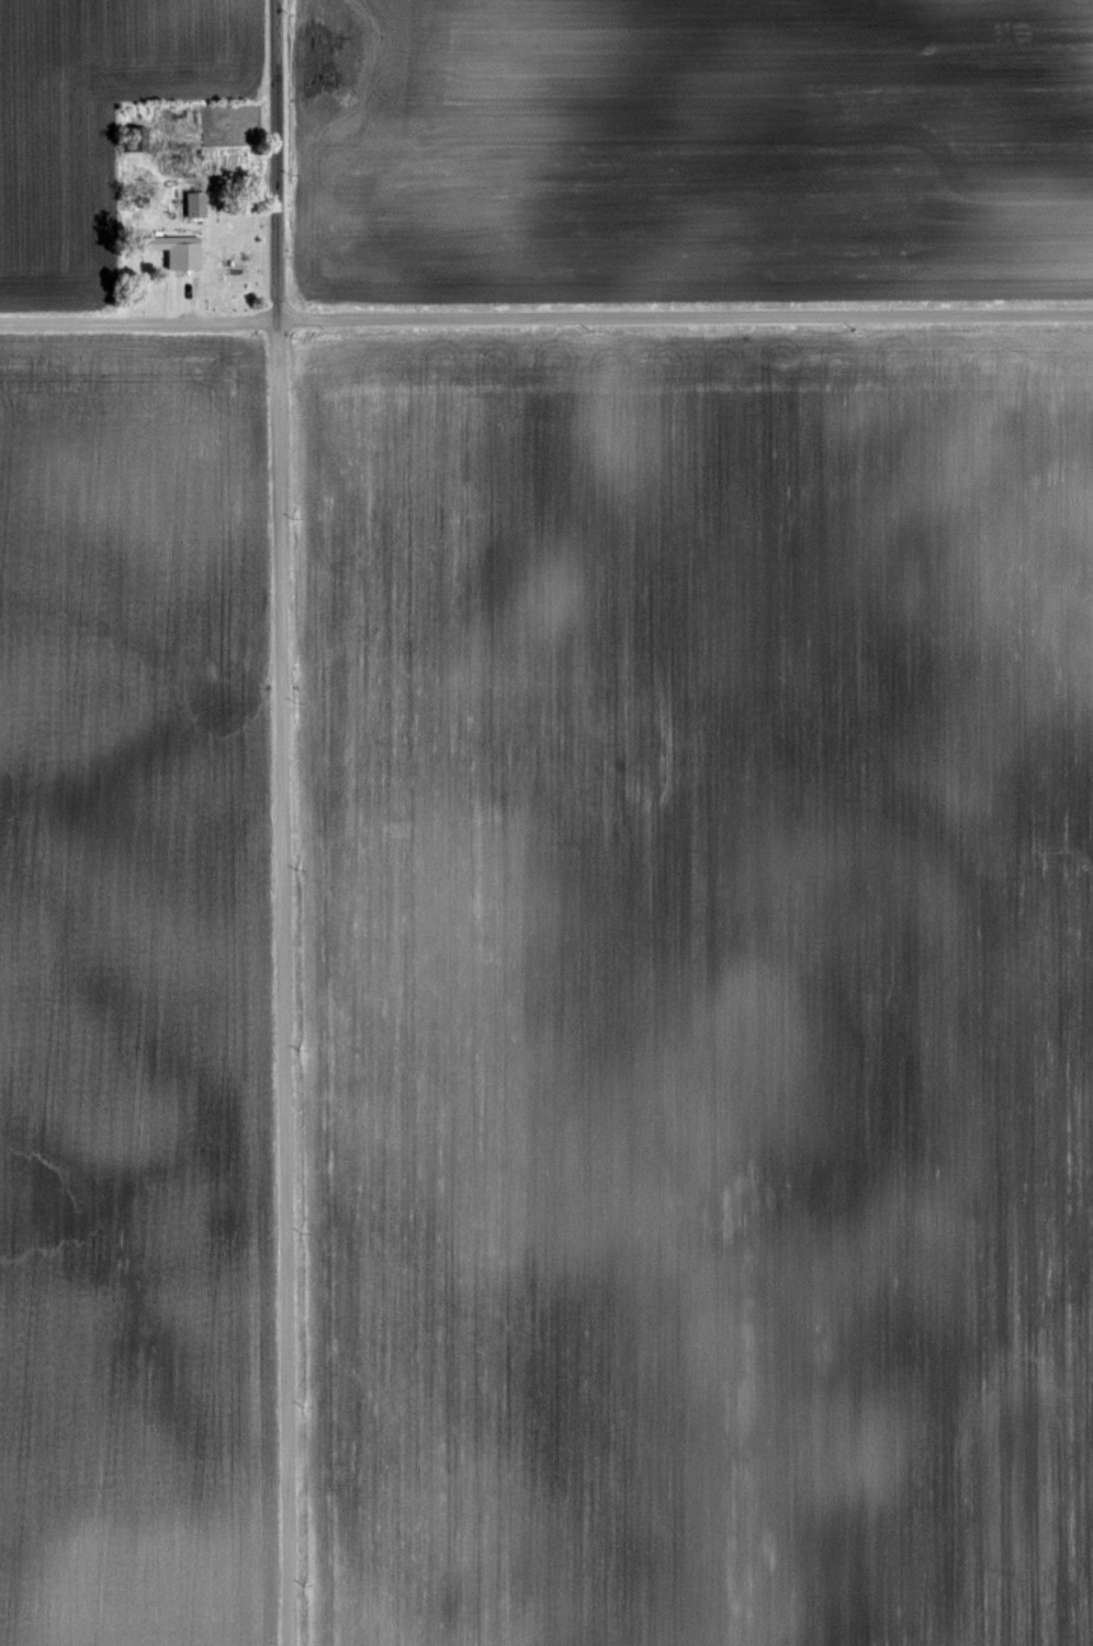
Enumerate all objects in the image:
building: (195, 206)
road: (546, 320)
road: (277, 823)

